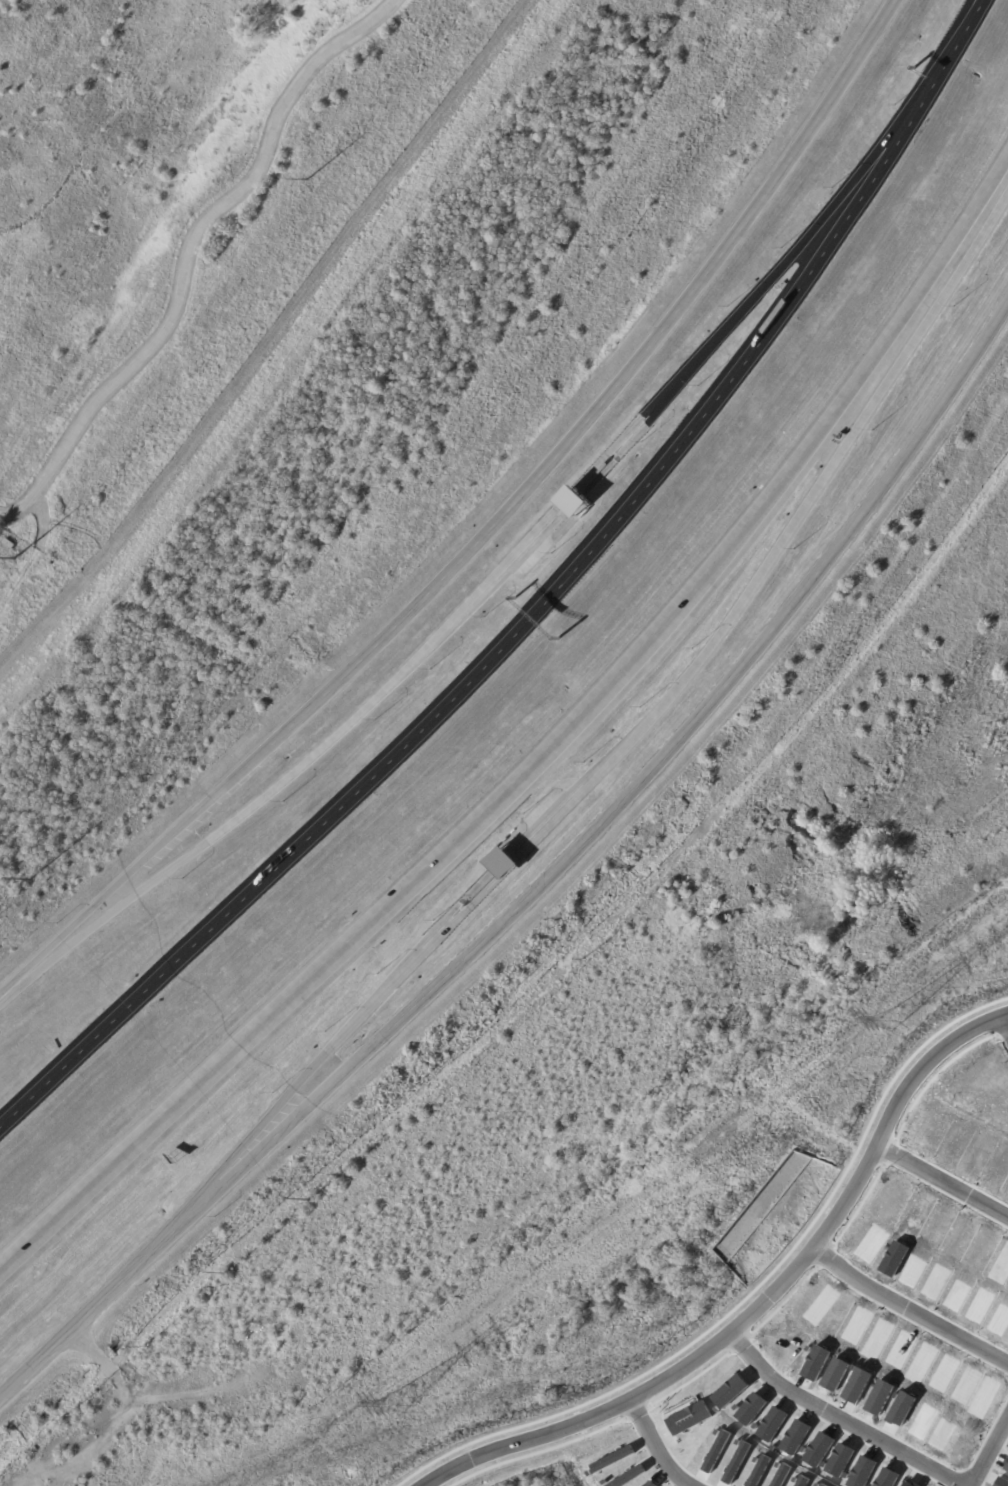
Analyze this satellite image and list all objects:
road: (948, 58)
power tower: (313, 179)
road: (187, 252)
road: (747, 305)
road: (566, 495)
building: (572, 501)
road: (487, 532)
road: (782, 541)
power tower: (21, 555)
parking lot: (522, 568)
road: (495, 654)
road: (546, 752)
road: (295, 770)
road: (648, 776)
park: (786, 808)
building: (503, 862)
road: (508, 867)
power tower: (894, 1021)
road: (354, 1025)
road: (946, 1173)
road: (111, 1292)
road: (912, 1300)
road: (764, 1302)
power tower: (400, 1408)
road: (850, 1415)
road: (660, 1444)
road: (992, 1456)

